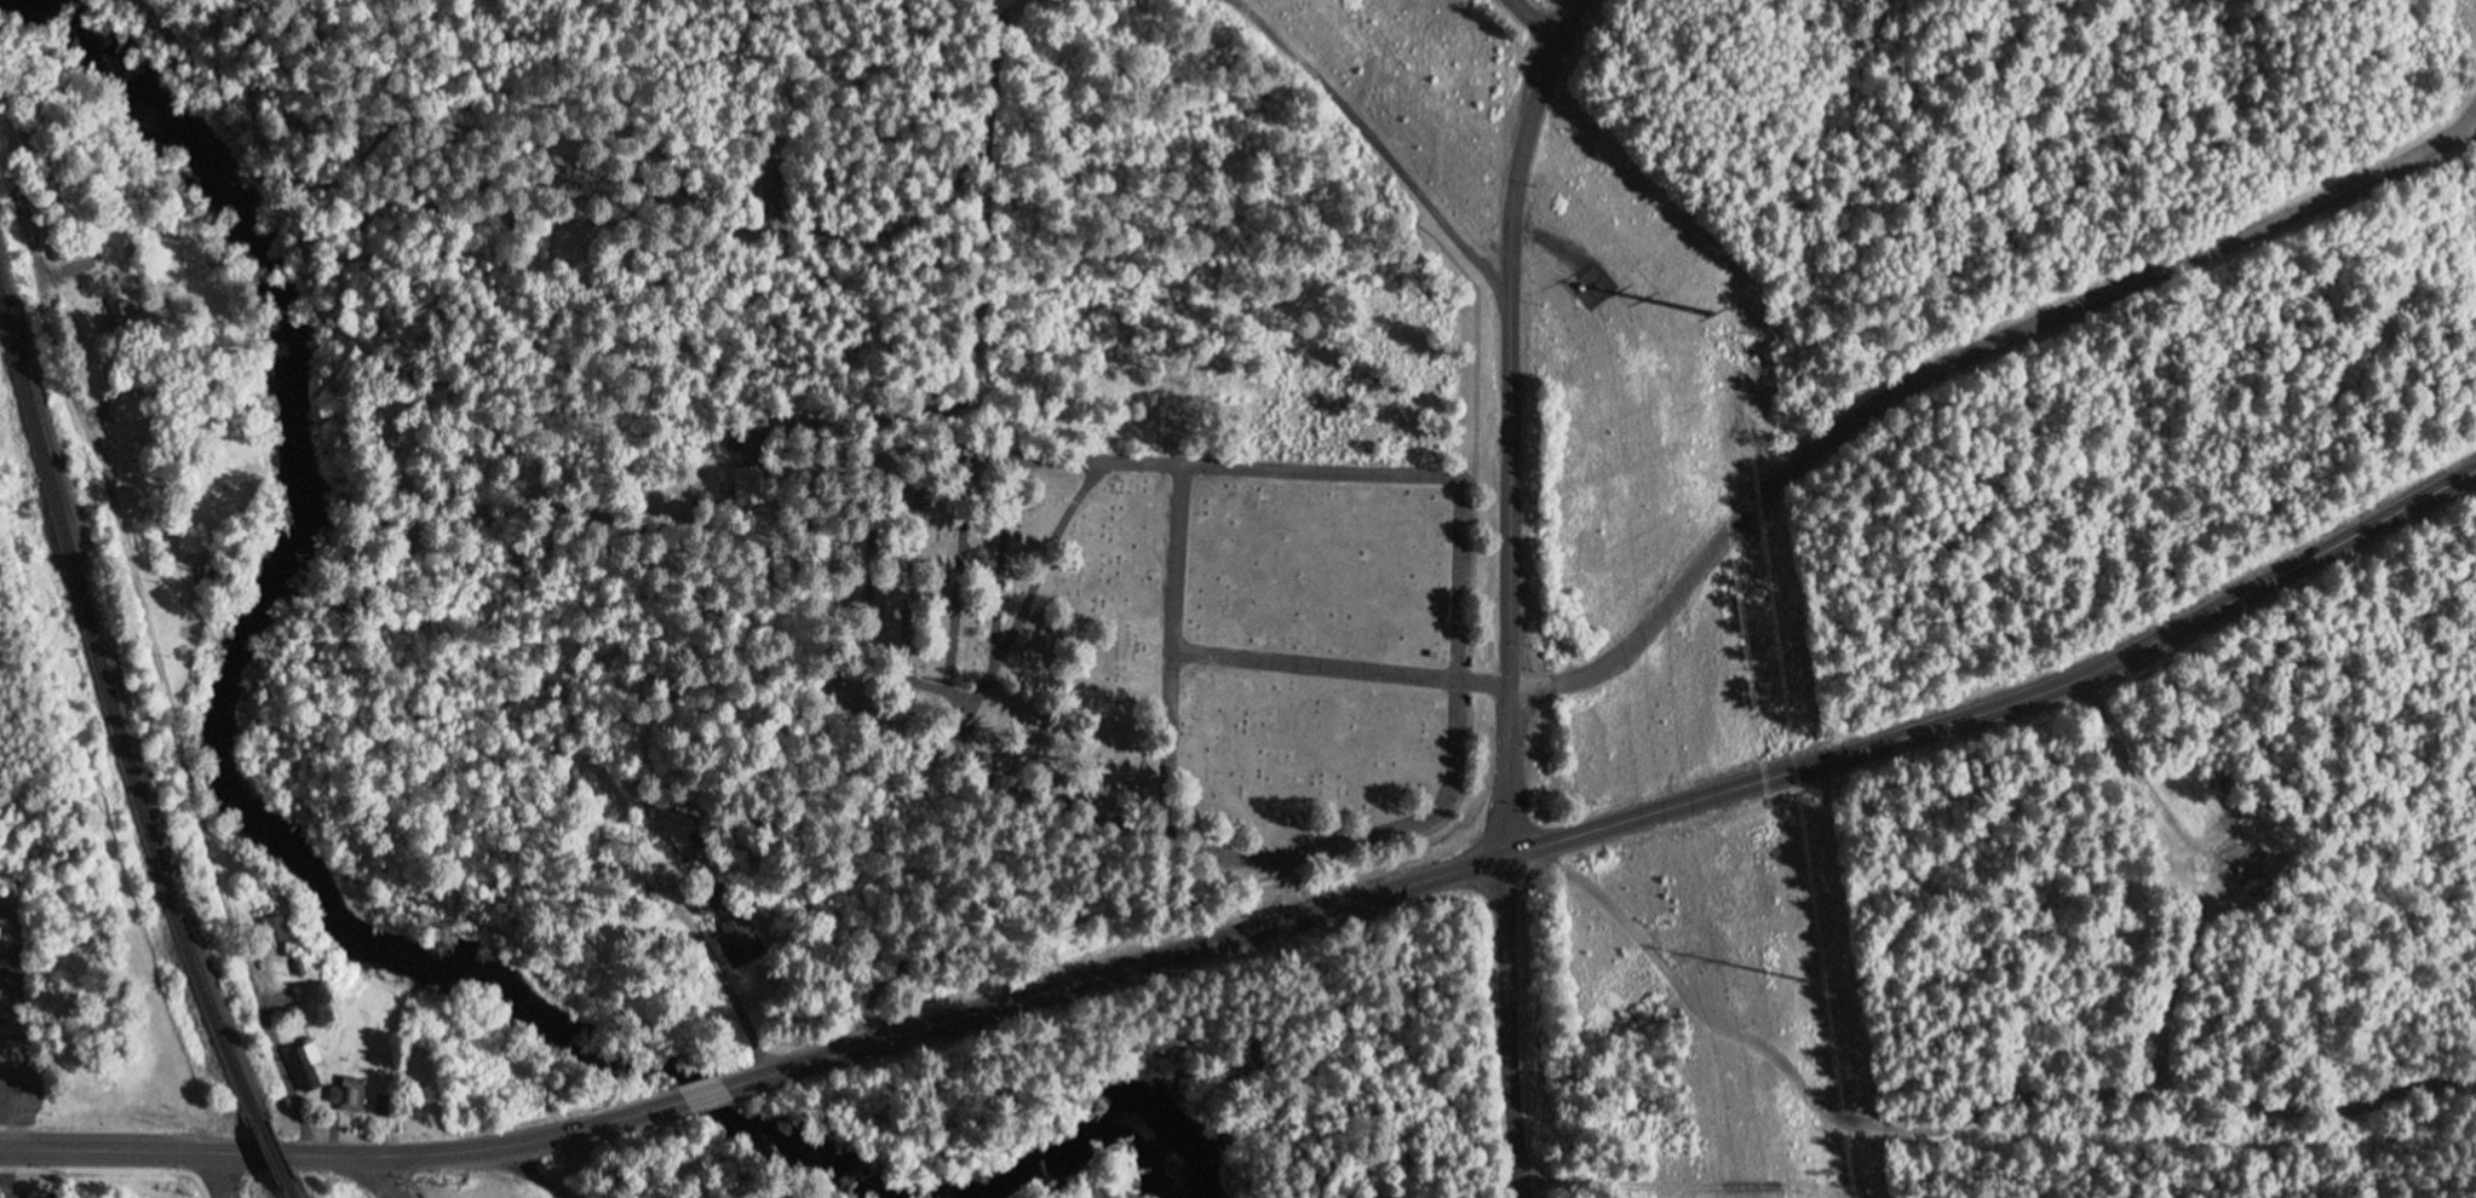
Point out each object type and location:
road: (1534, 22)
building: (57, 247)
building: (122, 312)
power tower: (1710, 315)
road: (1515, 336)
road: (1960, 362)
road: (1110, 457)
building: (743, 486)
building: (190, 540)
park: (1820, 587)
road: (1322, 667)
park: (1138, 679)
road: (1490, 682)
river: (257, 704)
railway: (115, 708)
road: (177, 713)
road: (1510, 772)
road: (2139, 772)
road: (1424, 814)
road: (1619, 824)
building: (2256, 871)
building: (735, 937)
power tower: (1809, 983)
road: (1513, 1018)
road: (746, 1023)
building: (309, 1046)
road: (5, 1087)
building: (345, 1089)
road: (702, 1095)
building: (385, 1106)
road: (1959, 1118)
river: (1093, 1144)
road: (343, 1153)
railway: (278, 1156)
road: (532, 1169)
road: (1689, 1173)
road: (214, 1175)
road: (381, 1177)
road: (1526, 1187)
railway: (295, 1192)

